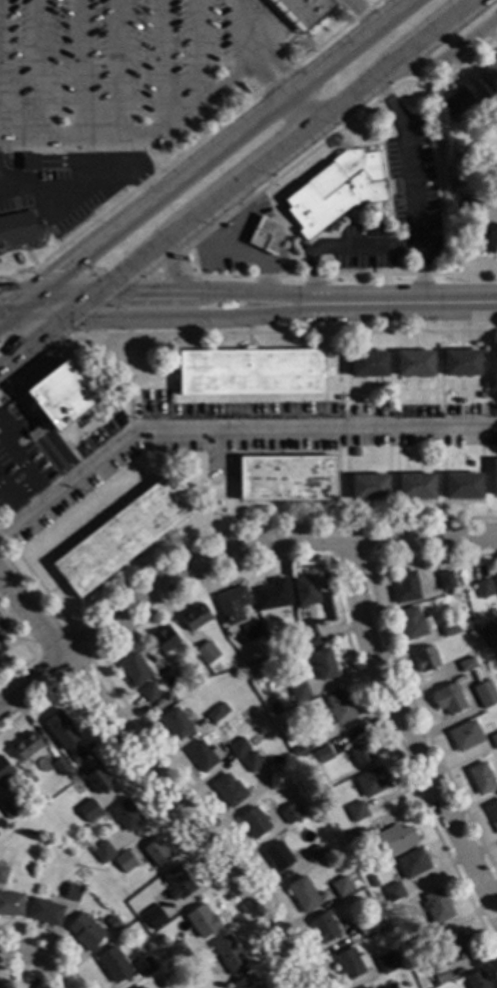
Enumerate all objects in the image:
road: (397, 3)
building: (300, 11)
road: (445, 55)
road: (268, 63)
building: (490, 73)
building: (456, 103)
building: (491, 109)
building: (496, 117)
road: (144, 135)
road: (264, 156)
road: (205, 158)
building: (29, 162)
road: (411, 179)
road: (81, 186)
building: (335, 190)
building: (468, 207)
building: (18, 229)
building: (264, 235)
building: (482, 237)
road: (340, 246)
road: (168, 269)
traffic signals: (29, 292)
traffic signals: (100, 292)
road: (138, 292)
road: (385, 301)
road: (170, 316)
traffic signals: (65, 318)
road: (32, 319)
road: (32, 342)
building: (461, 362)
building: (367, 363)
building: (414, 363)
building: (494, 370)
building: (247, 371)
building: (60, 395)
building: (481, 395)
building: (339, 397)
road: (230, 428)
building: (355, 451)
building: (55, 452)
building: (174, 459)
road: (25, 461)
building: (471, 463)
building: (494, 477)
building: (285, 478)
building: (415, 486)
building: (462, 486)
building: (368, 487)
road: (10, 503)
building: (119, 536)
road: (224, 551)
building: (445, 580)
building: (495, 581)
building: (404, 587)
building: (483, 588)
building: (306, 590)
building: (272, 594)
building: (232, 604)
road: (10, 614)
building: (195, 616)
road: (31, 618)
building: (412, 623)
building: (449, 628)
building: (251, 630)
building: (309, 634)
building: (488, 635)
building: (164, 639)
building: (206, 651)
building: (425, 658)
building: (323, 663)
building: (466, 664)
building: (210, 666)
building: (134, 668)
building: (297, 668)
building: (170, 677)
building: (149, 692)
building: (300, 693)
building: (484, 693)
building: (164, 694)
building: (289, 698)
building: (448, 699)
building: (275, 706)
building: (339, 708)
building: (216, 712)
building: (175, 723)
building: (64, 735)
building: (465, 735)
building: (313, 736)
building: (494, 739)
road: (397, 744)
building: (26, 746)
building: (238, 748)
building: (293, 749)
building: (322, 754)
building: (360, 754)
building: (203, 755)
building: (251, 762)
building: (60, 766)
building: (4, 768)
building: (71, 775)
building: (480, 778)
building: (97, 779)
building: (371, 781)
building: (0, 784)
building: (228, 790)
building: (10, 807)
building: (88, 811)
building: (356, 811)
building: (289, 813)
building: (492, 814)
building: (126, 815)
road: (183, 817)
building: (253, 822)
building: (356, 836)
building: (393, 840)
building: (103, 852)
building: (156, 852)
building: (313, 853)
building: (278, 856)
building: (124, 861)
building: (412, 863)
building: (2, 874)
building: (372, 881)
building: (177, 883)
building: (340, 886)
building: (393, 891)
building: (72, 892)
building: (303, 894)
building: (11, 904)
building: (436, 906)
building: (44, 911)
building: (155, 917)
building: (201, 920)
building: (112, 923)
building: (366, 924)
building: (324, 928)
building: (85, 931)
building: (424, 935)
building: (449, 948)
building: (178, 952)
building: (228, 954)
road: (37, 958)
building: (350, 963)
building: (386, 963)
building: (113, 964)
building: (210, 964)
building: (144, 967)
building: (439, 975)
building: (476, 980)
building: (245, 982)
building: (1, 987)
building: (137, 987)
building: (366, 987)

